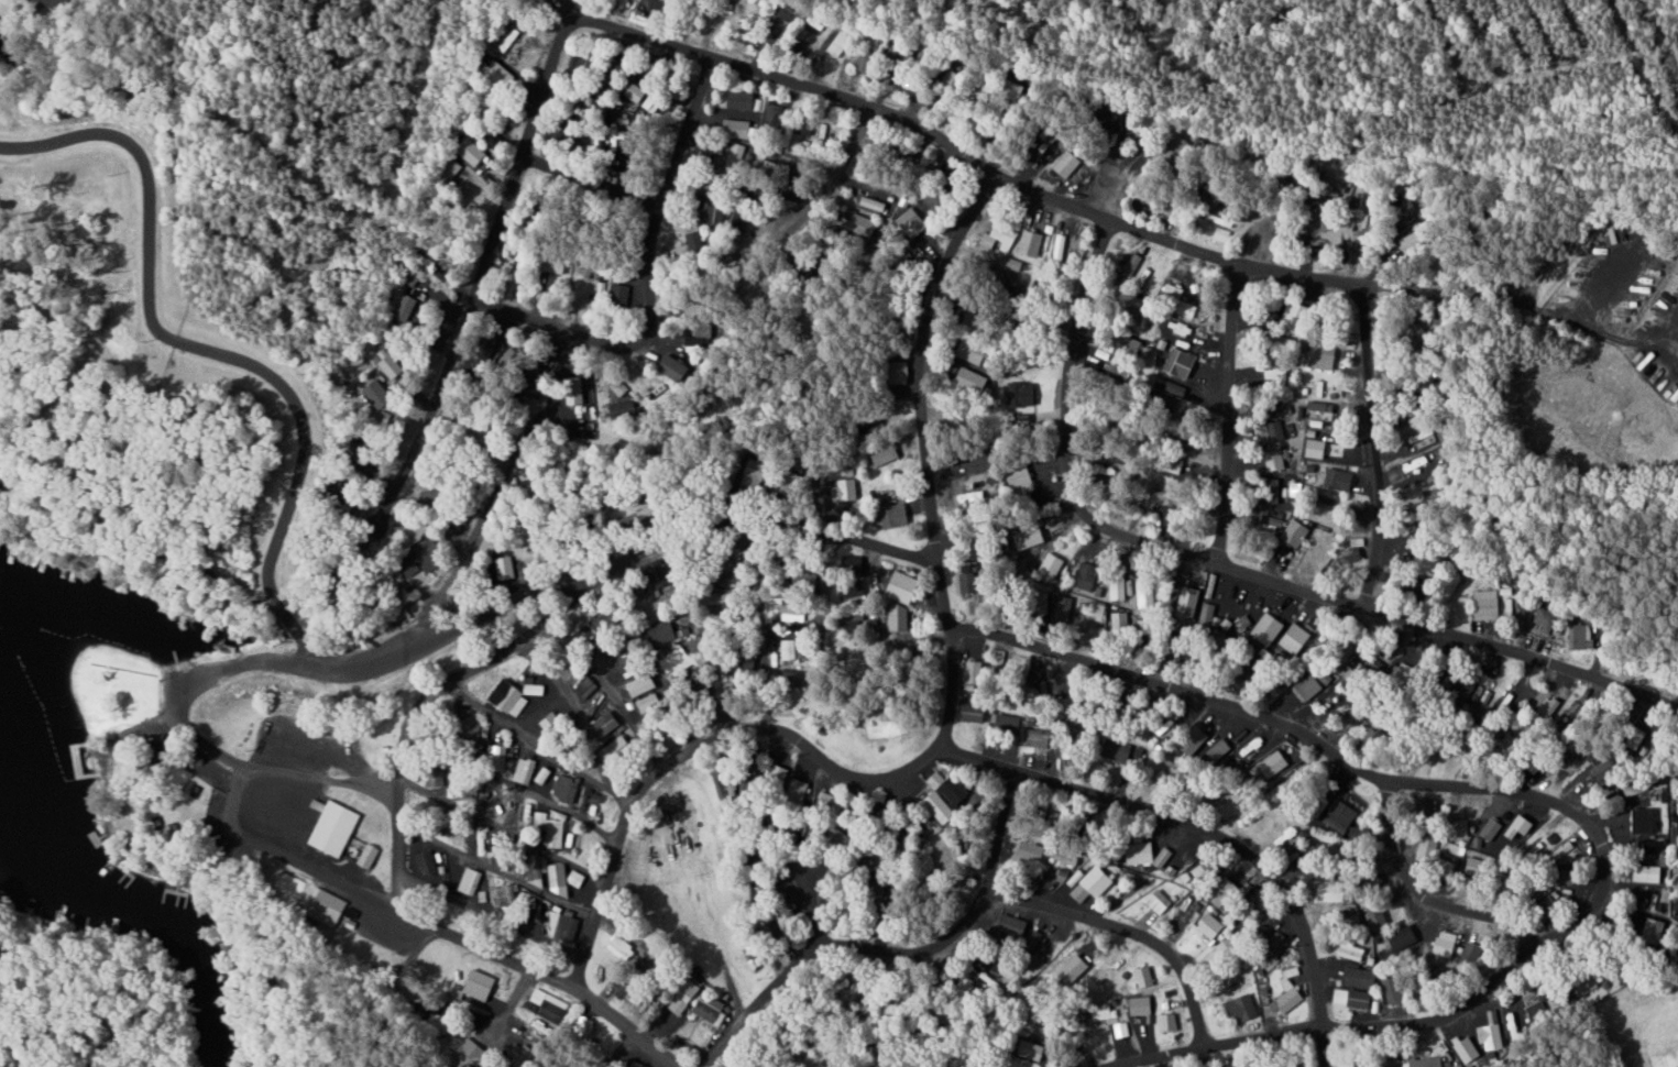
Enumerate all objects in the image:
building: (45, 3)
building: (837, 43)
building: (863, 61)
building: (634, 91)
road: (846, 98)
building: (742, 100)
building: (652, 101)
building: (772, 114)
building: (804, 122)
building: (739, 129)
building: (621, 132)
building: (593, 137)
building: (474, 151)
building: (734, 154)
building: (1068, 163)
road: (834, 172)
road: (583, 194)
building: (714, 211)
building: (910, 218)
building: (1220, 227)
building: (999, 237)
building: (1414, 241)
building: (694, 242)
building: (1031, 243)
building: (512, 246)
building: (1059, 246)
building: (1133, 265)
building: (1019, 274)
road: (648, 286)
building: (1174, 290)
building: (618, 291)
building: (407, 307)
building: (1188, 311)
building: (1302, 315)
building: (986, 326)
building: (702, 328)
building: (693, 340)
building: (975, 351)
road: (921, 355)
building: (1324, 355)
building: (512, 358)
building: (1182, 363)
building: (393, 365)
building: (1117, 366)
building: (676, 369)
building: (1276, 372)
building: (975, 380)
building: (618, 387)
building: (1319, 388)
building: (381, 394)
building: (1195, 397)
building: (1021, 400)
building: (622, 408)
building: (573, 409)
building: (1319, 410)
road: (1225, 413)
building: (1274, 430)
road: (305, 448)
building: (1314, 448)
building: (886, 452)
building: (1276, 460)
building: (980, 463)
building: (1413, 463)
building: (1339, 479)
building: (847, 486)
building: (970, 493)
building: (1158, 494)
building: (1430, 494)
building: (896, 515)
building: (1295, 531)
building: (1031, 537)
building: (529, 538)
building: (428, 555)
building: (1428, 562)
building: (1051, 565)
building: (506, 566)
road: (1229, 569)
building: (658, 573)
building: (1085, 575)
building: (968, 582)
building: (904, 586)
building: (1117, 587)
road: (913, 588)
building: (851, 592)
building: (1145, 593)
building: (1189, 601)
road: (571, 604)
road: (877, 604)
building: (1063, 605)
building: (1487, 605)
building: (1095, 612)
building: (1543, 618)
building: (603, 621)
building: (902, 621)
road: (761, 623)
building: (1121, 623)
building: (1269, 628)
road: (822, 630)
building: (670, 631)
road: (695, 636)
building: (1295, 638)
building: (997, 657)
building: (630, 660)
building: (677, 661)
building: (1369, 668)
building: (975, 672)
building: (643, 685)
building: (1308, 686)
building: (535, 687)
building: (589, 690)
road: (607, 691)
building: (511, 697)
building: (648, 703)
road: (581, 707)
building: (975, 713)
building: (1012, 719)
building: (550, 721)
building: (606, 723)
road: (776, 725)
building: (472, 730)
building: (1038, 739)
building: (1374, 739)
road: (535, 741)
building: (619, 749)
building: (1118, 750)
building: (496, 752)
road: (1341, 752)
building: (1275, 765)
building: (526, 771)
building: (936, 780)
road: (507, 782)
building: (456, 784)
building: (567, 788)
building: (799, 789)
building: (955, 791)
building: (496, 803)
building: (940, 807)
building: (1338, 816)
road: (1183, 818)
building: (540, 820)
building: (1646, 821)
road: (501, 825)
building: (1522, 827)
building: (334, 828)
building: (557, 828)
building: (1492, 828)
building: (1288, 837)
building: (569, 839)
building: (481, 840)
building: (1654, 846)
building: (1425, 848)
building: (1033, 851)
building: (1559, 853)
building: (369, 855)
building: (506, 855)
building: (1066, 858)
building: (427, 864)
building: (1476, 865)
road: (493, 866)
building: (1206, 871)
building: (534, 872)
building: (1645, 873)
building: (562, 879)
building: (1096, 880)
road: (1421, 880)
building: (292, 887)
building: (472, 889)
building: (1332, 891)
building: (506, 894)
building: (1648, 901)
building: (1156, 902)
building: (327, 906)
road: (801, 912)
road: (484, 913)
building: (1484, 915)
building: (1375, 916)
building: (1012, 926)
building: (1210, 926)
building: (1659, 926)
building: (535, 928)
road: (1125, 931)
building: (1403, 937)
building: (1227, 946)
building: (622, 947)
road: (893, 949)
building: (648, 950)
building: (1351, 952)
building: (1468, 952)
road: (547, 972)
building: (1144, 977)
building: (1362, 978)
building: (988, 980)
building: (472, 982)
building: (623, 987)
building: (965, 988)
building: (1396, 990)
building: (1287, 993)
road: (516, 994)
building: (687, 998)
building: (1352, 998)
building: (1556, 1000)
building: (549, 1004)
building: (1140, 1005)
building: (1243, 1009)
building: (712, 1010)
building: (1537, 1010)
building: (1170, 1022)
building: (1507, 1022)
building: (585, 1025)
building: (1050, 1027)
building: (1120, 1030)
road: (1270, 1031)
building: (1490, 1036)
building: (1465, 1048)
building: (473, 1053)
road: (646, 1056)
building: (1044, 1057)
building: (1362, 1059)
building: (1427, 1061)
building: (641, 1065)

